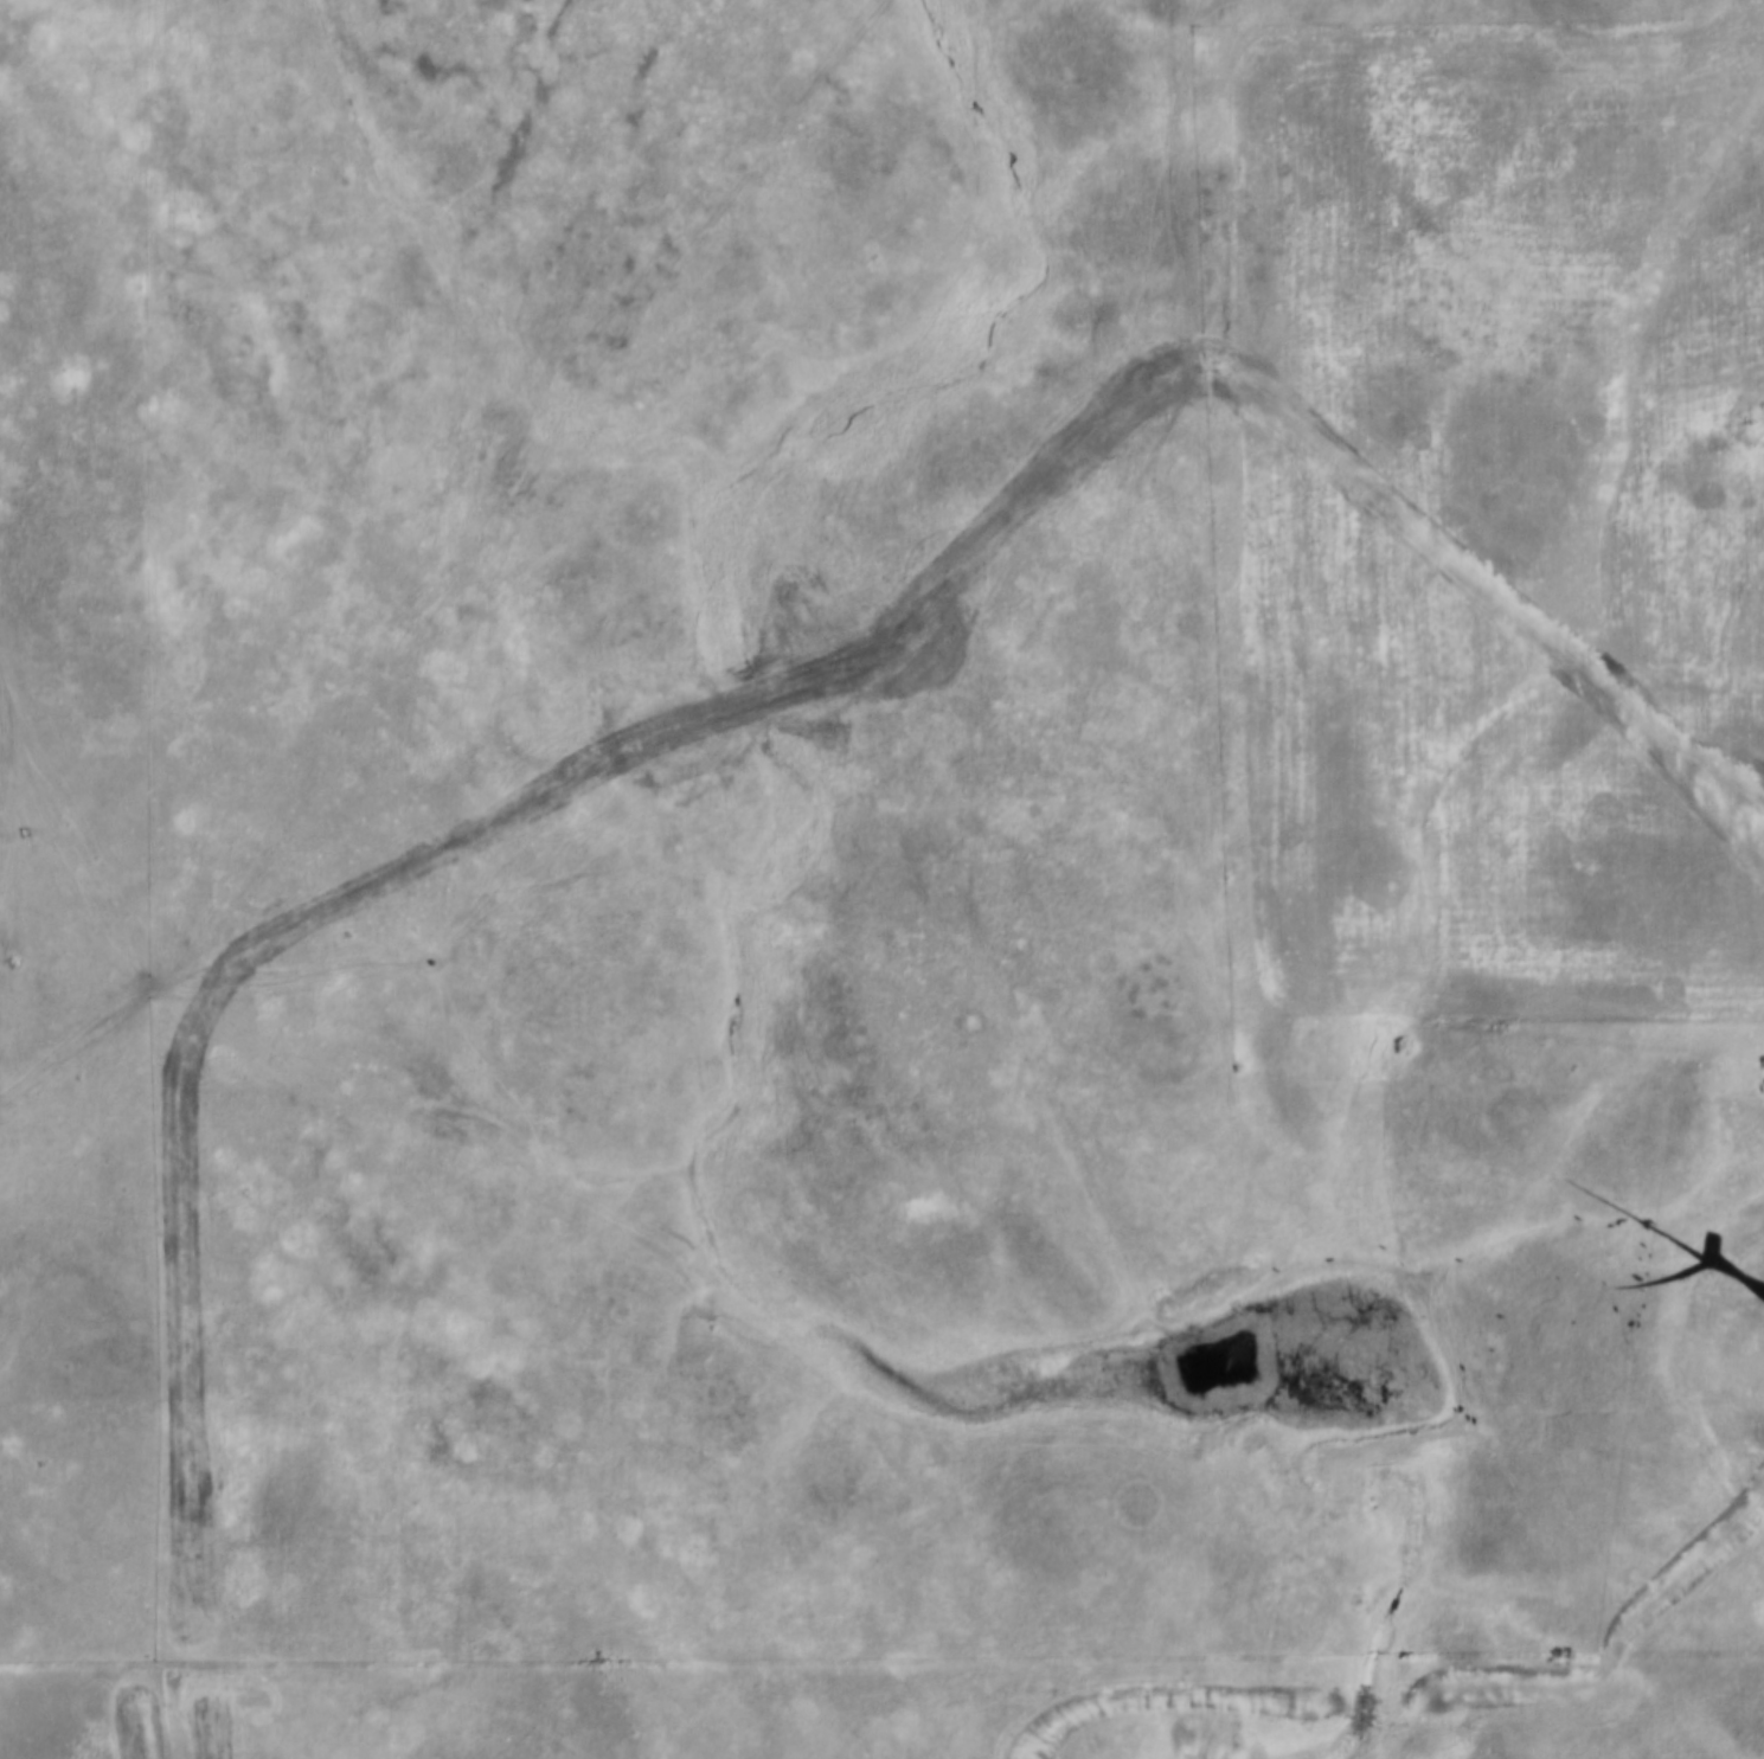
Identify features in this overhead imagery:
road: (628, 746)

